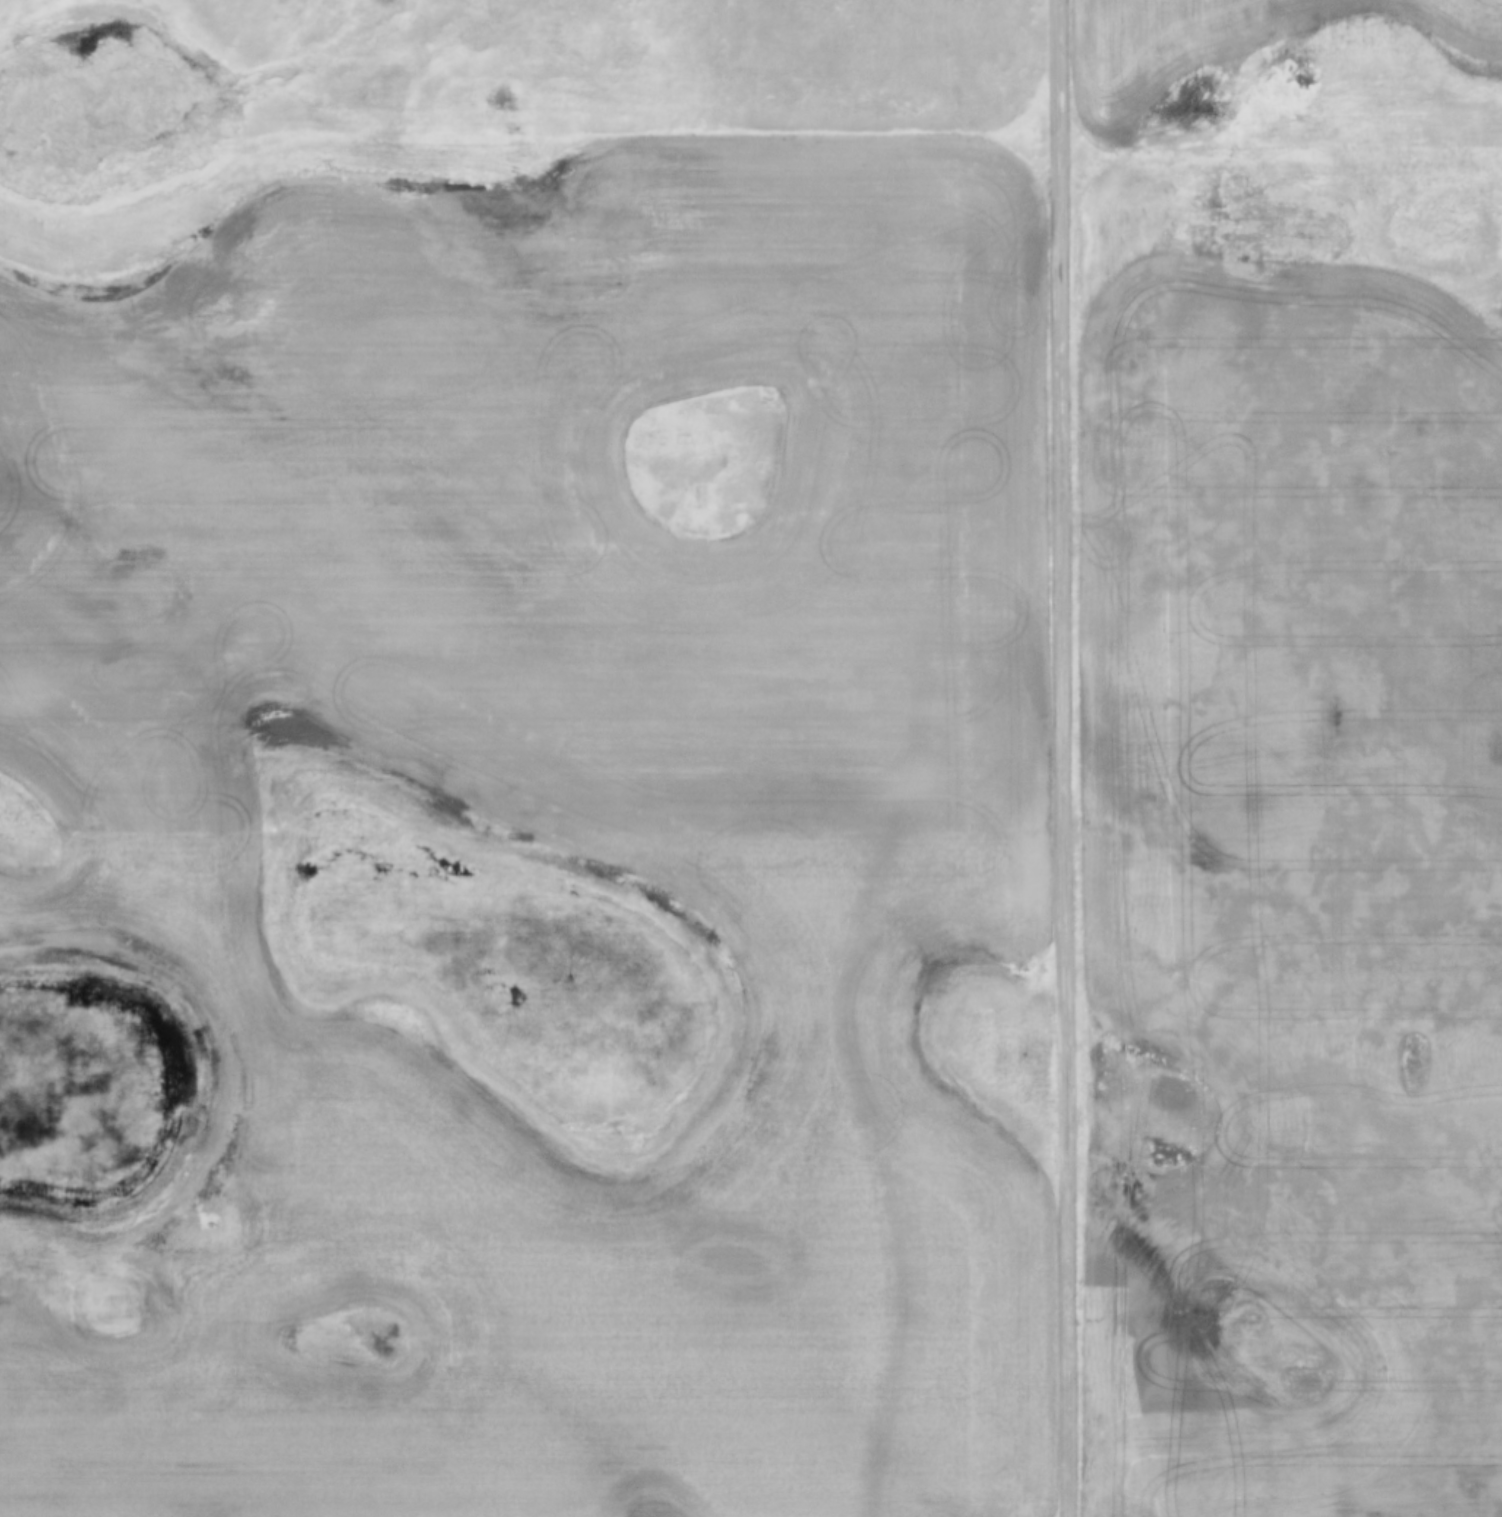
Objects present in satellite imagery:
road: (1061, 758)

